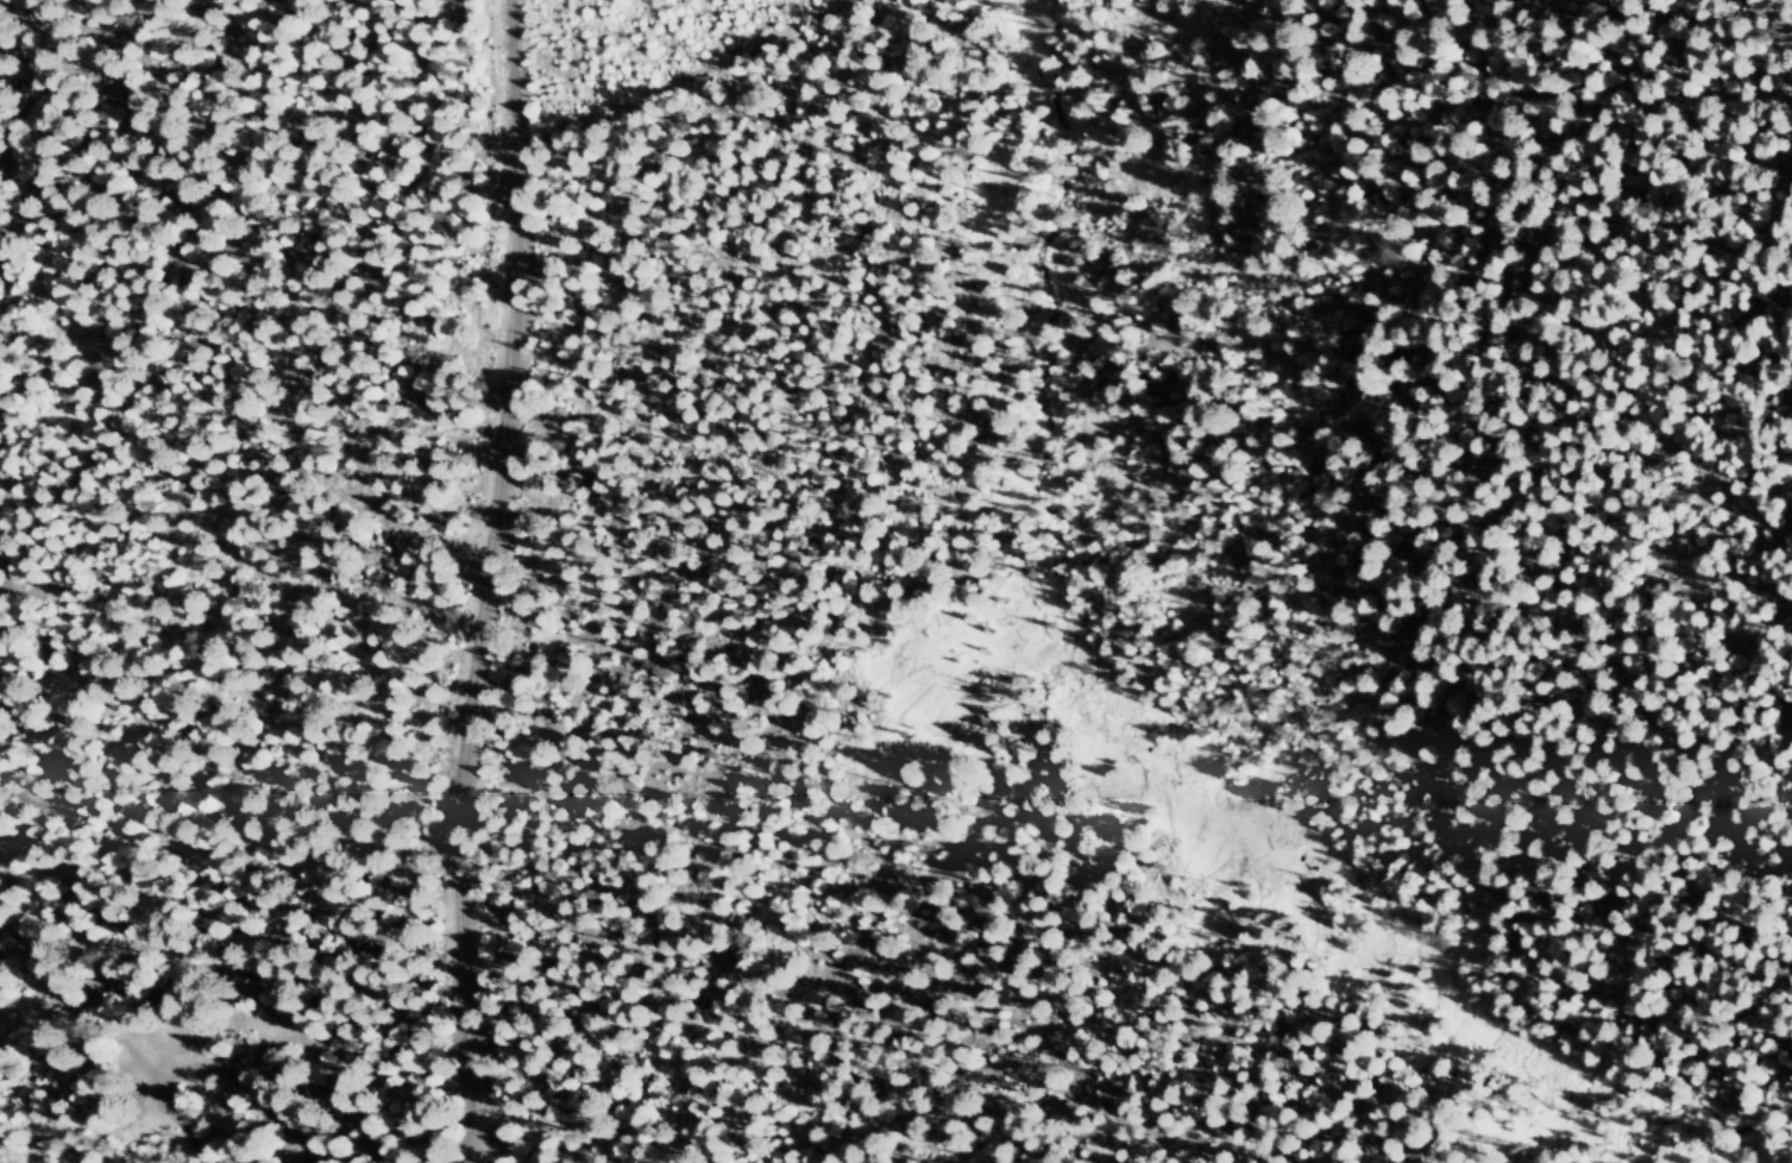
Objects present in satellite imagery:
road: (524, 590)

